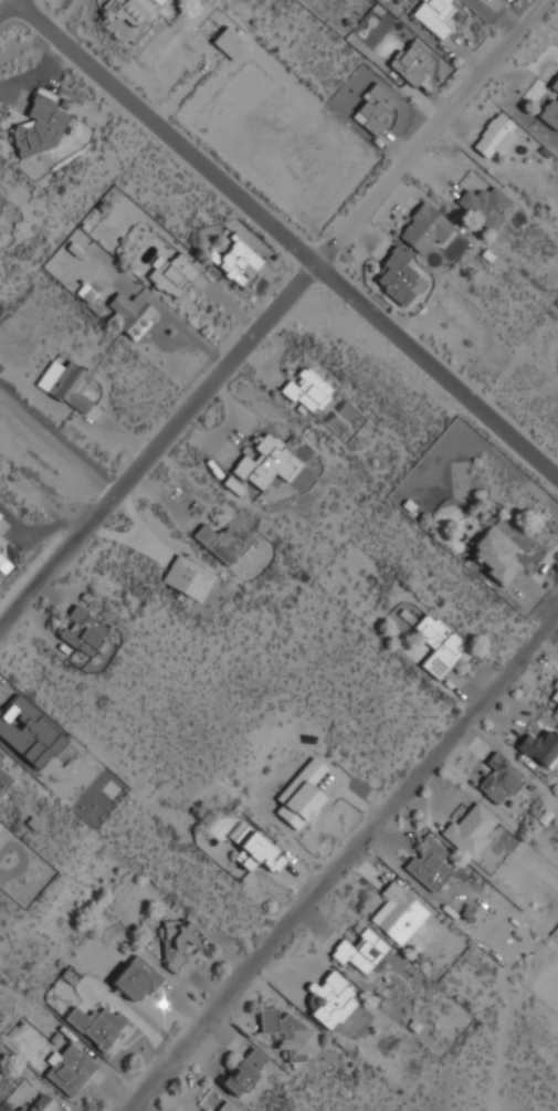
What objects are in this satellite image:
road: (8, 9)
building: (129, 11)
building: (434, 14)
building: (228, 41)
building: (411, 62)
building: (376, 107)
building: (551, 108)
building: (41, 127)
building: (494, 134)
building: (1, 201)
building: (485, 206)
building: (424, 227)
road: (283, 234)
building: (240, 262)
building: (172, 274)
building: (399, 277)
building: (87, 292)
road: (273, 311)
building: (131, 313)
building: (66, 384)
building: (308, 390)
building: (267, 463)
building: (235, 488)
building: (0, 515)
building: (224, 541)
building: (495, 555)
building: (1, 557)
building: (189, 578)
building: (83, 632)
building: (438, 644)
building: (555, 699)
building: (556, 711)
building: (29, 732)
building: (540, 747)
building: (1, 758)
building: (3, 778)
building: (499, 778)
building: (302, 795)
building: (471, 830)
building: (255, 848)
road: (339, 859)
building: (430, 864)
building: (399, 913)
building: (180, 940)
building: (360, 951)
building: (136, 978)
building: (330, 999)
building: (97, 1025)
building: (291, 1035)
building: (70, 1069)
building: (244, 1071)
building: (40, 1103)
building: (228, 1107)
building: (206, 1110)

